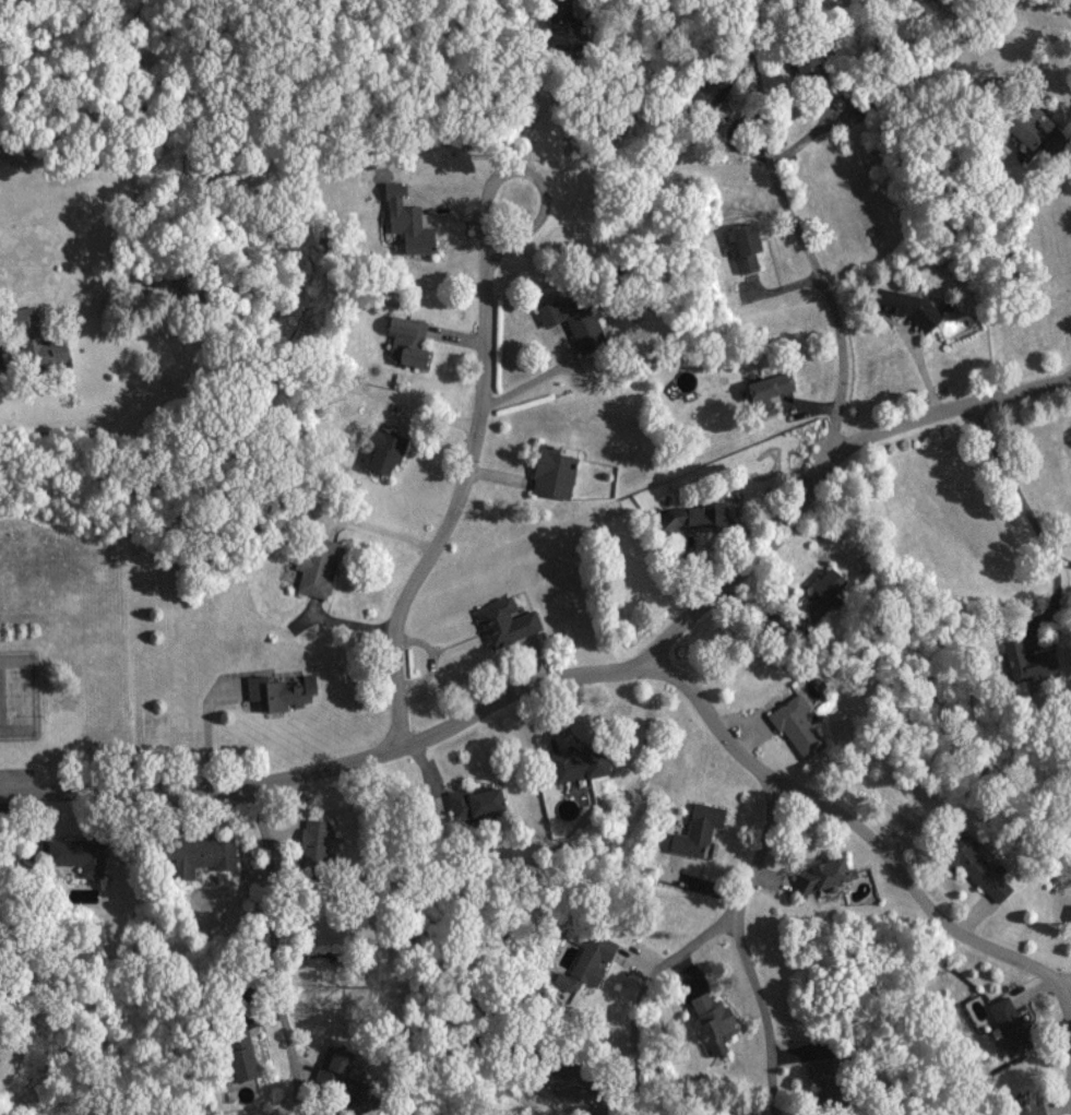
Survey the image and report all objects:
building: (801, 64)
road: (527, 86)
building: (1028, 127)
building: (410, 221)
building: (748, 246)
building: (908, 307)
building: (572, 319)
building: (409, 341)
building: (35, 343)
road: (845, 360)
building: (773, 384)
road: (481, 392)
road: (953, 407)
building: (386, 450)
building: (557, 473)
road: (1010, 484)
building: (699, 517)
building: (320, 568)
building: (833, 583)
building: (509, 621)
road: (586, 673)
building: (284, 690)
building: (798, 725)
building: (583, 764)
building: (479, 802)
building: (700, 830)
building: (314, 841)
building: (81, 855)
building: (202, 855)
building: (981, 870)
building: (824, 875)
road: (694, 940)
road: (274, 946)
road: (742, 948)
building: (590, 963)
road: (1063, 997)
building: (716, 1022)
building: (1011, 1024)
building: (334, 1067)
road: (277, 1076)

